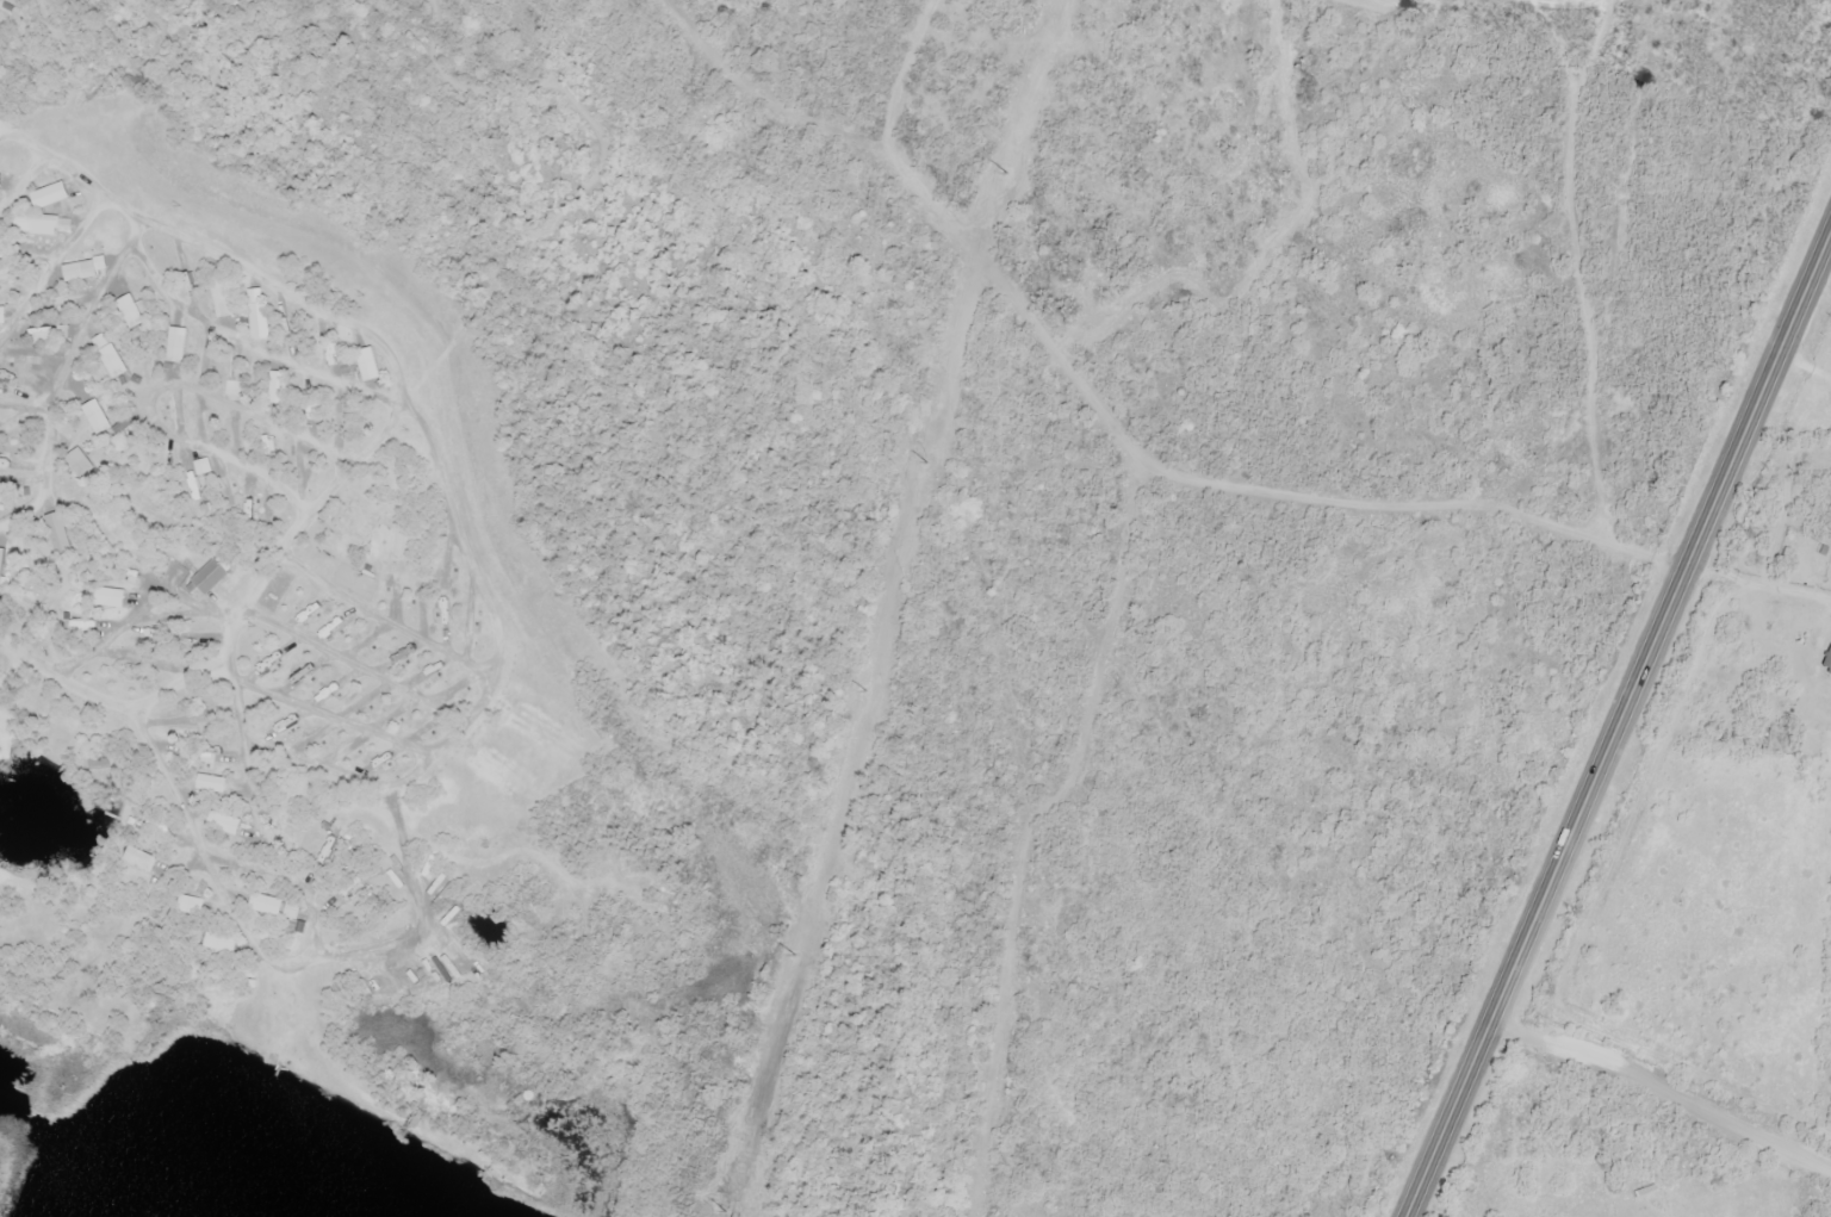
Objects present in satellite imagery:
road: (601, 168)
power tower: (1005, 173)
road: (21, 175)
building: (0, 190)
building: (52, 193)
road: (123, 198)
building: (39, 224)
road: (23, 260)
road: (44, 263)
building: (79, 272)
building: (221, 297)
building: (62, 304)
road: (1576, 306)
building: (0, 317)
road: (77, 333)
building: (175, 346)
building: (110, 365)
building: (232, 391)
road: (178, 396)
building: (95, 418)
building: (122, 426)
power tower: (924, 462)
building: (79, 465)
road: (42, 467)
road: (441, 486)
road: (300, 523)
railway: (913, 554)
building: (0, 564)
building: (207, 578)
road: (385, 614)
road: (256, 627)
building: (1827, 662)
power tower: (863, 690)
road: (331, 714)
road: (1615, 720)
road: (176, 806)
building: (139, 861)
building: (246, 869)
building: (347, 888)
building: (269, 904)
building: (190, 907)
building: (222, 944)
power tower: (792, 956)
road: (1661, 1087)
power tower: (741, 1138)

